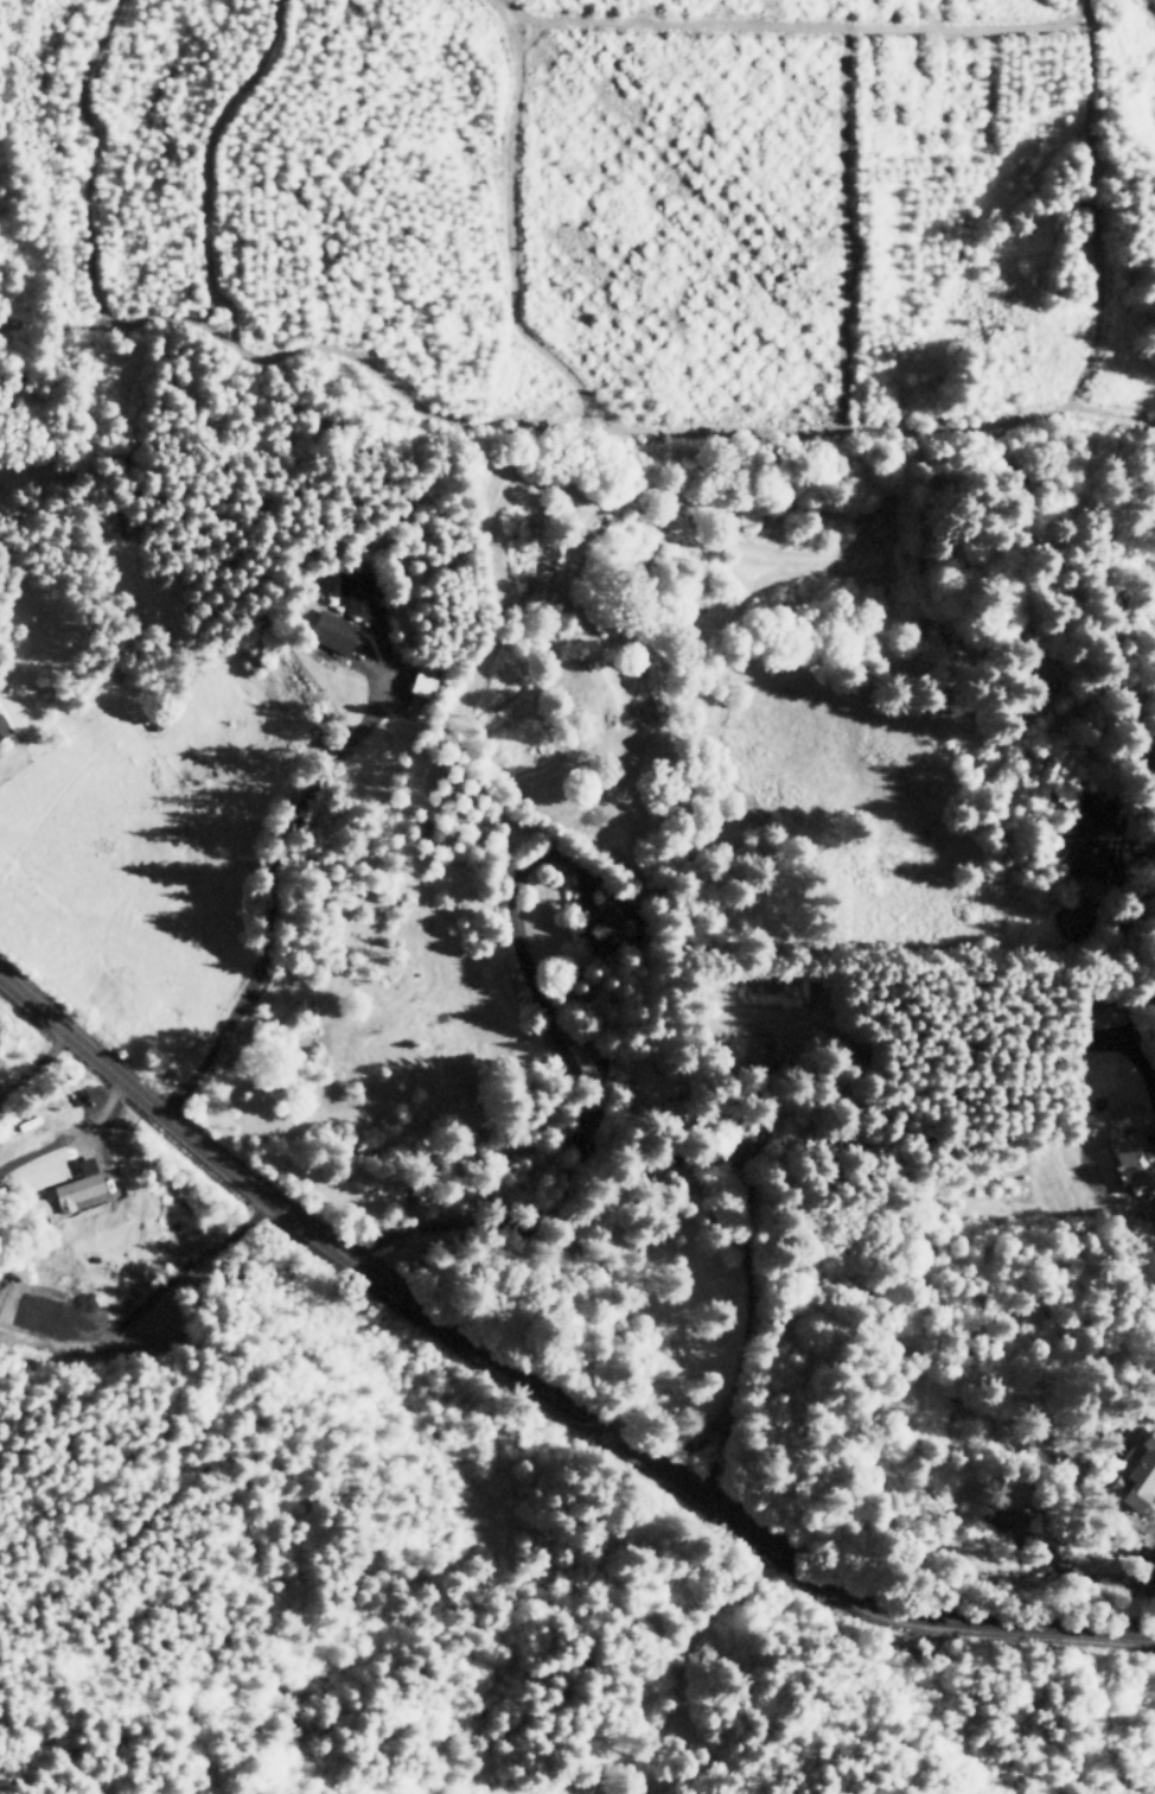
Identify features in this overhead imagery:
building: (356, 591)
building: (331, 631)
road: (1124, 661)
building: (423, 679)
building: (4, 725)
building: (1086, 835)
road: (269, 897)
building: (605, 928)
building: (1099, 1014)
road: (1134, 1051)
road: (31, 1056)
building: (587, 1058)
road: (572, 1090)
road: (91, 1124)
building: (740, 1140)
building: (1131, 1160)
building: (76, 1185)
road: (541, 1389)
building: (1134, 1470)
building: (1006, 1521)
road: (1151, 1563)

